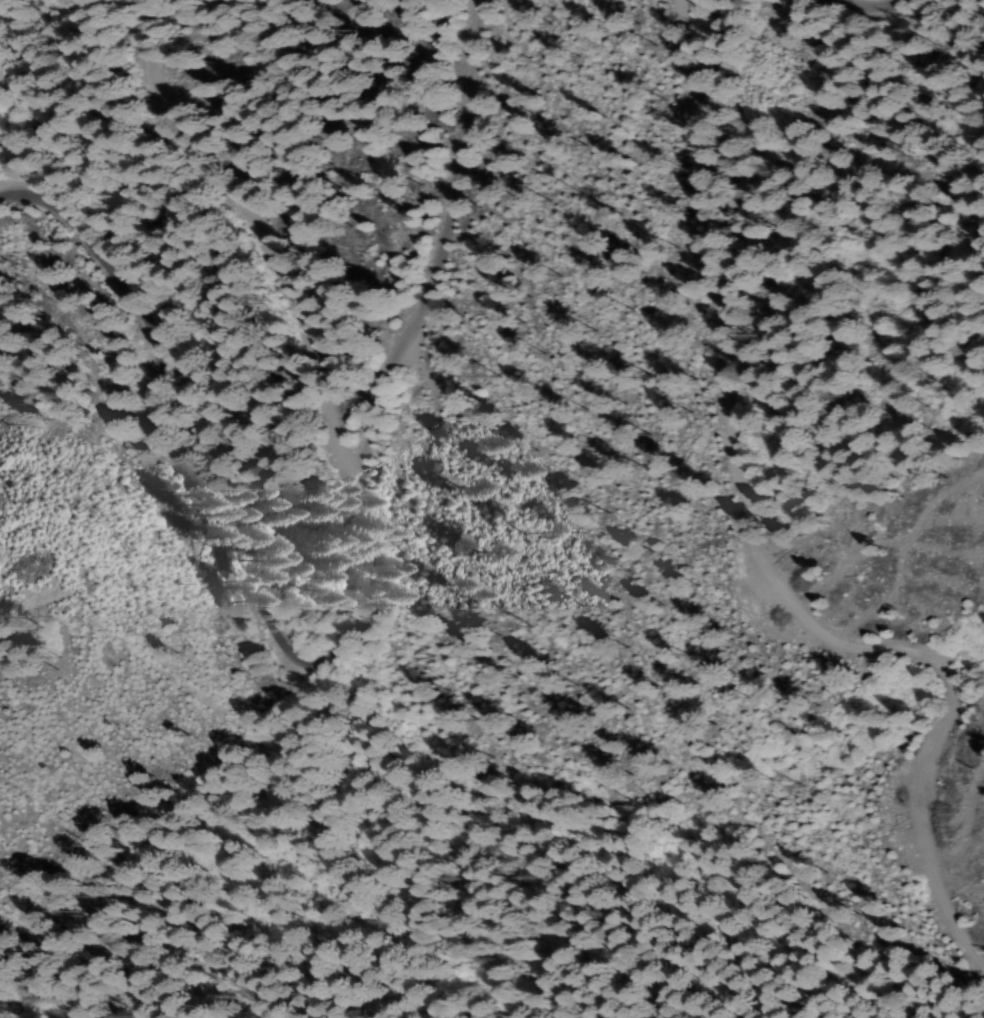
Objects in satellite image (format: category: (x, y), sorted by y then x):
road: (857, 4)
road: (744, 509)
road: (337, 638)

